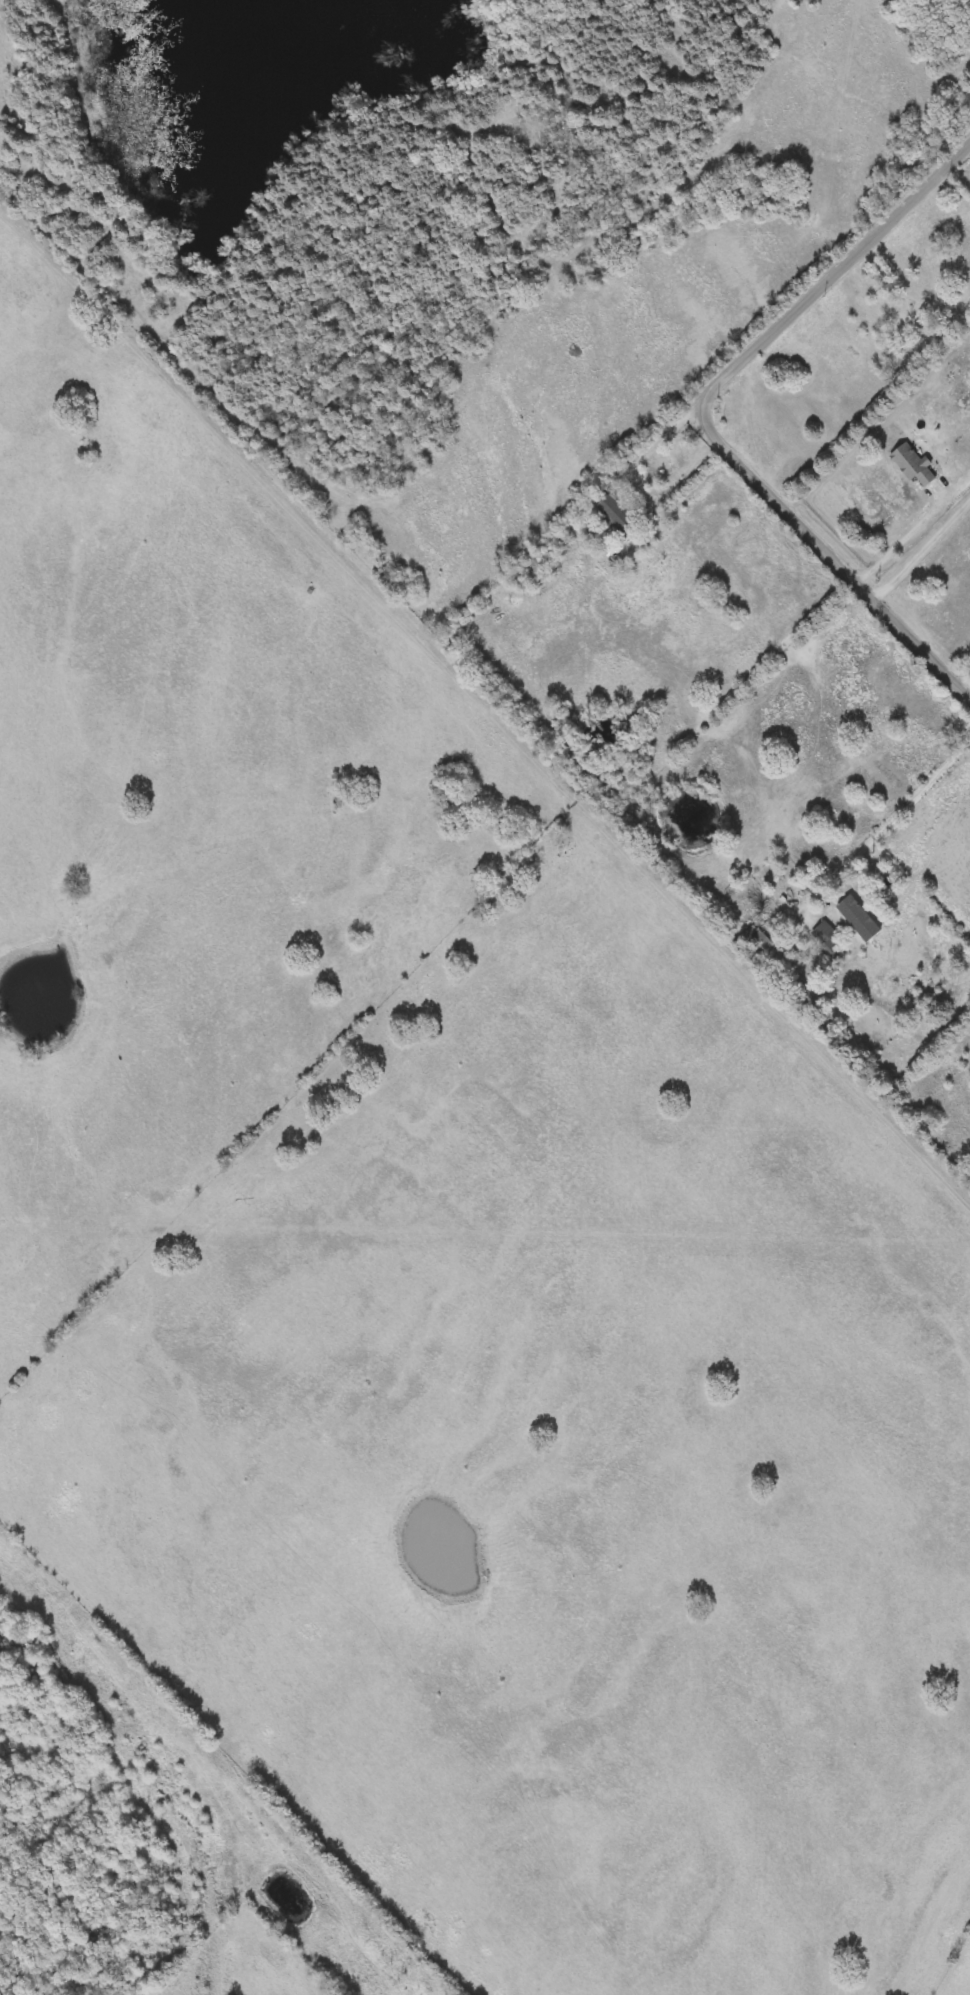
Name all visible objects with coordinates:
building: (883, 318)
road: (705, 419)
building: (913, 465)
road: (641, 487)
building: (617, 515)
road: (914, 539)
building: (536, 570)
road: (965, 680)
road: (885, 826)
building: (828, 942)

